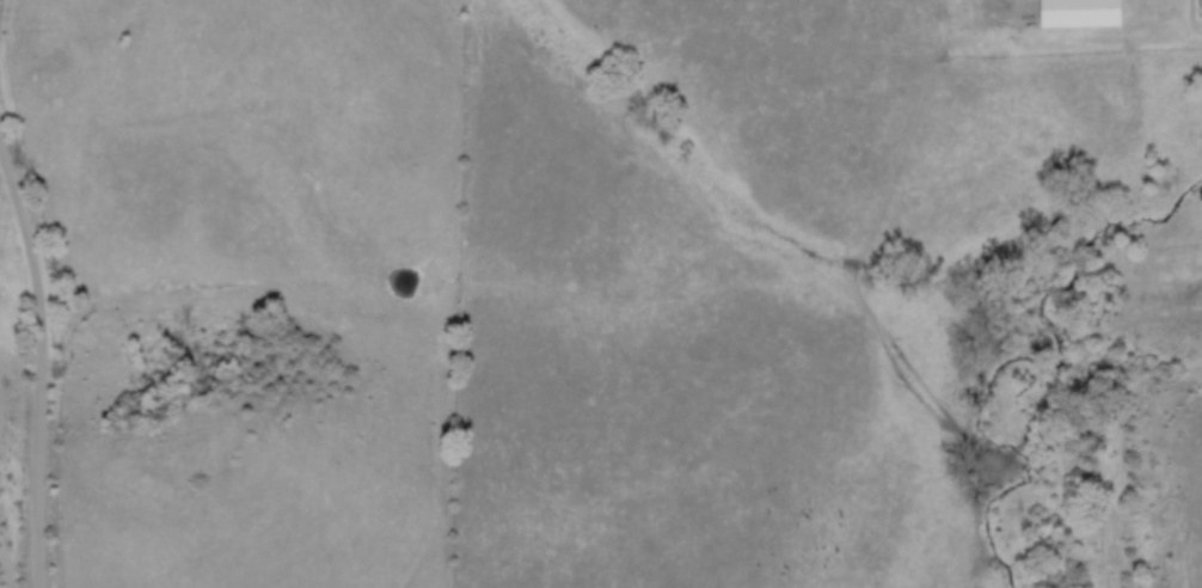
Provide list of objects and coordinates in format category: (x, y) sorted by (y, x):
road: (39, 363)

